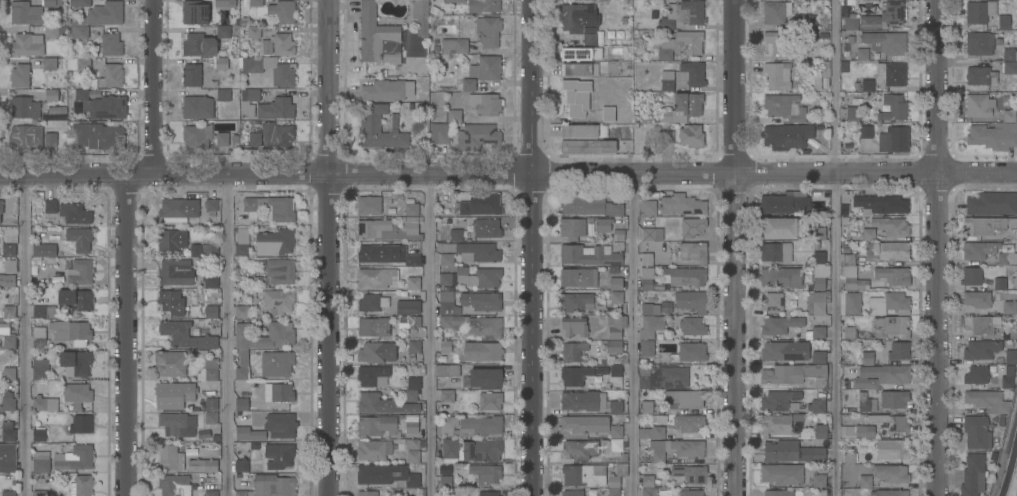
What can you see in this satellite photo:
building: (455, 1)
building: (51, 2)
building: (79, 3)
building: (225, 3)
building: (255, 3)
building: (483, 5)
building: (112, 11)
building: (282, 11)
building: (979, 11)
building: (195, 12)
building: (776, 12)
building: (25, 13)
building: (684, 13)
building: (421, 16)
building: (884, 16)
building: (579, 21)
building: (803, 21)
building: (1004, 22)
building: (851, 23)
building: (54, 31)
building: (488, 31)
building: (79, 32)
building: (223, 32)
building: (253, 32)
building: (376, 36)
building: (774, 42)
building: (885, 42)
building: (979, 43)
building: (27, 44)
building: (111, 44)
building: (681, 44)
building: (199, 45)
building: (278, 45)
building: (454, 46)
building: (801, 50)
building: (580, 53)
building: (862, 54)
building: (1009, 54)
building: (49, 63)
building: (78, 63)
building: (221, 63)
building: (485, 67)
building: (1009, 67)
building: (579, 69)
building: (825, 69)
building: (283, 72)
building: (692, 73)
building: (892, 73)
building: (20, 75)
building: (191, 75)
building: (777, 75)
building: (980, 75)
building: (111, 76)
building: (667, 80)
building: (469, 84)
building: (867, 85)
road: (158, 87)
building: (387, 90)
building: (223, 94)
building: (51, 95)
building: (251, 95)
building: (576, 97)
building: (688, 103)
building: (980, 104)
building: (102, 105)
building: (484, 105)
building: (24, 107)
building: (197, 107)
building: (784, 107)
building: (893, 107)
building: (276, 108)
building: (247, 111)
building: (608, 114)
building: (853, 114)
building: (453, 115)
building: (665, 116)
building: (1009, 116)
building: (370, 123)
building: (583, 130)
building: (866, 131)
building: (439, 133)
building: (277, 135)
building: (478, 135)
building: (691, 135)
building: (98, 136)
building: (197, 136)
building: (786, 136)
building: (994, 136)
building: (26, 137)
building: (664, 137)
building: (50, 138)
building: (222, 139)
building: (255, 139)
building: (894, 139)
building: (593, 146)
road: (508, 175)
building: (783, 203)
building: (881, 203)
building: (992, 203)
building: (369, 204)
building: (681, 204)
building: (479, 205)
building: (590, 205)
building: (1, 206)
building: (51, 206)
building: (211, 207)
building: (648, 207)
building: (271, 209)
building: (411, 209)
building: (178, 210)
building: (74, 213)
building: (603, 224)
building: (891, 226)
building: (989, 226)
building: (692, 227)
building: (389, 228)
building: (487, 228)
building: (572, 228)
building: (780, 228)
building: (868, 233)
building: (454, 234)
building: (652, 234)
building: (618, 235)
building: (818, 235)
building: (77, 238)
building: (172, 239)
building: (275, 242)
building: (242, 243)
road: (330, 248)
road: (532, 248)
road: (730, 248)
road: (834, 248)
road: (935, 248)
building: (8, 250)
building: (44, 250)
building: (209, 250)
building: (888, 250)
building: (976, 250)
building: (472, 251)
building: (693, 252)
building: (771, 252)
building: (369, 253)
building: (588, 255)
building: (646, 258)
building: (1006, 258)
building: (446, 259)
building: (412, 260)
building: (10, 265)
building: (820, 270)
building: (278, 271)
building: (80, 272)
building: (176, 272)
building: (851, 273)
building: (893, 275)
building: (684, 276)
building: (972, 276)
building: (376, 277)
building: (473, 277)
building: (579, 278)
building: (781, 278)
building: (649, 279)
building: (210, 280)
building: (7, 281)
building: (413, 283)
building: (615, 283)
building: (1000, 283)
building: (616, 297)
building: (76, 299)
building: (977, 299)
building: (278, 300)
building: (691, 300)
building: (170, 301)
building: (481, 301)
building: (372, 302)
building: (576, 302)
building: (849, 302)
building: (447, 303)
building: (772, 303)
building: (816, 303)
building: (887, 303)
building: (408, 306)
building: (1009, 307)
building: (650, 309)
building: (667, 309)
building: (9, 311)
building: (44, 312)
building: (242, 312)
building: (211, 313)
building: (407, 321)
building: (450, 321)
building: (780, 324)
building: (615, 325)
building: (893, 325)
building: (981, 325)
building: (485, 326)
building: (574, 326)
building: (692, 326)
building: (373, 327)
building: (652, 327)
building: (71, 332)
building: (849, 332)
building: (1013, 332)
building: (815, 333)
road: (25, 335)
road: (126, 335)
building: (187, 335)
road: (227, 335)
road: (427, 335)
road: (630, 335)
building: (6, 336)
building: (39, 338)
building: (261, 342)
building: (414, 346)
building: (445, 346)
building: (613, 346)
building: (647, 347)
building: (981, 349)
building: (785, 350)
building: (899, 350)
building: (482, 351)
building: (573, 351)
building: (377, 352)
building: (689, 352)
building: (818, 357)
building: (1011, 357)
building: (867, 358)
building: (76, 363)
building: (169, 363)
building: (277, 363)
building: (39, 369)
building: (209, 370)
building: (446, 370)
building: (616, 370)
building: (8, 373)
building: (795, 374)
building: (373, 375)
building: (575, 375)
building: (976, 375)
building: (486, 377)
building: (885, 377)
building: (664, 378)
building: (1007, 380)
building: (412, 388)
building: (278, 392)
building: (77, 393)
building: (174, 394)
building: (684, 399)
building: (893, 399)
building: (447, 400)
building: (490, 400)
building: (987, 400)
building: (8, 401)
building: (583, 401)
building: (780, 401)
building: (211, 403)
building: (44, 404)
building: (241, 404)
building: (383, 404)
building: (865, 404)
building: (646, 406)
building: (817, 406)
building: (616, 407)
building: (211, 417)
building: (412, 423)
building: (585, 423)
building: (688, 423)
building: (778, 423)
building: (897, 423)
building: (81, 424)
building: (178, 424)
building: (376, 424)
building: (280, 425)
building: (469, 425)
building: (8, 431)
building: (616, 431)
building: (821, 431)
building: (651, 432)
building: (865, 432)
building: (977, 432)
building: (39, 434)
building: (249, 434)
building: (412, 443)
building: (610, 447)
building: (579, 448)
building: (676, 448)
building: (373, 449)
building: (449, 449)
building: (891, 449)
building: (481, 450)
building: (792, 451)
building: (208, 452)
building: (279, 455)
building: (413, 456)
building: (849, 456)
building: (170, 457)
building: (76, 458)
building: (6, 461)
building: (41, 461)
road: (1007, 465)
building: (203, 466)
building: (241, 466)
building: (621, 468)
building: (486, 472)
building: (690, 473)
building: (891, 473)
building: (387, 474)
building: (781, 474)
building: (583, 475)
building: (973, 475)
building: (818, 480)
building: (445, 481)
building: (613, 481)
building: (647, 481)
building: (865, 481)
building: (81, 485)
building: (174, 485)
building: (270, 486)
building: (210, 492)
building: (614, 492)
building: (648, 492)
building: (690, 492)
building: (8, 493)
building: (39, 493)
building: (367, 493)
building: (488, 493)
building: (572, 493)
building: (778, 493)
building: (889, 493)

